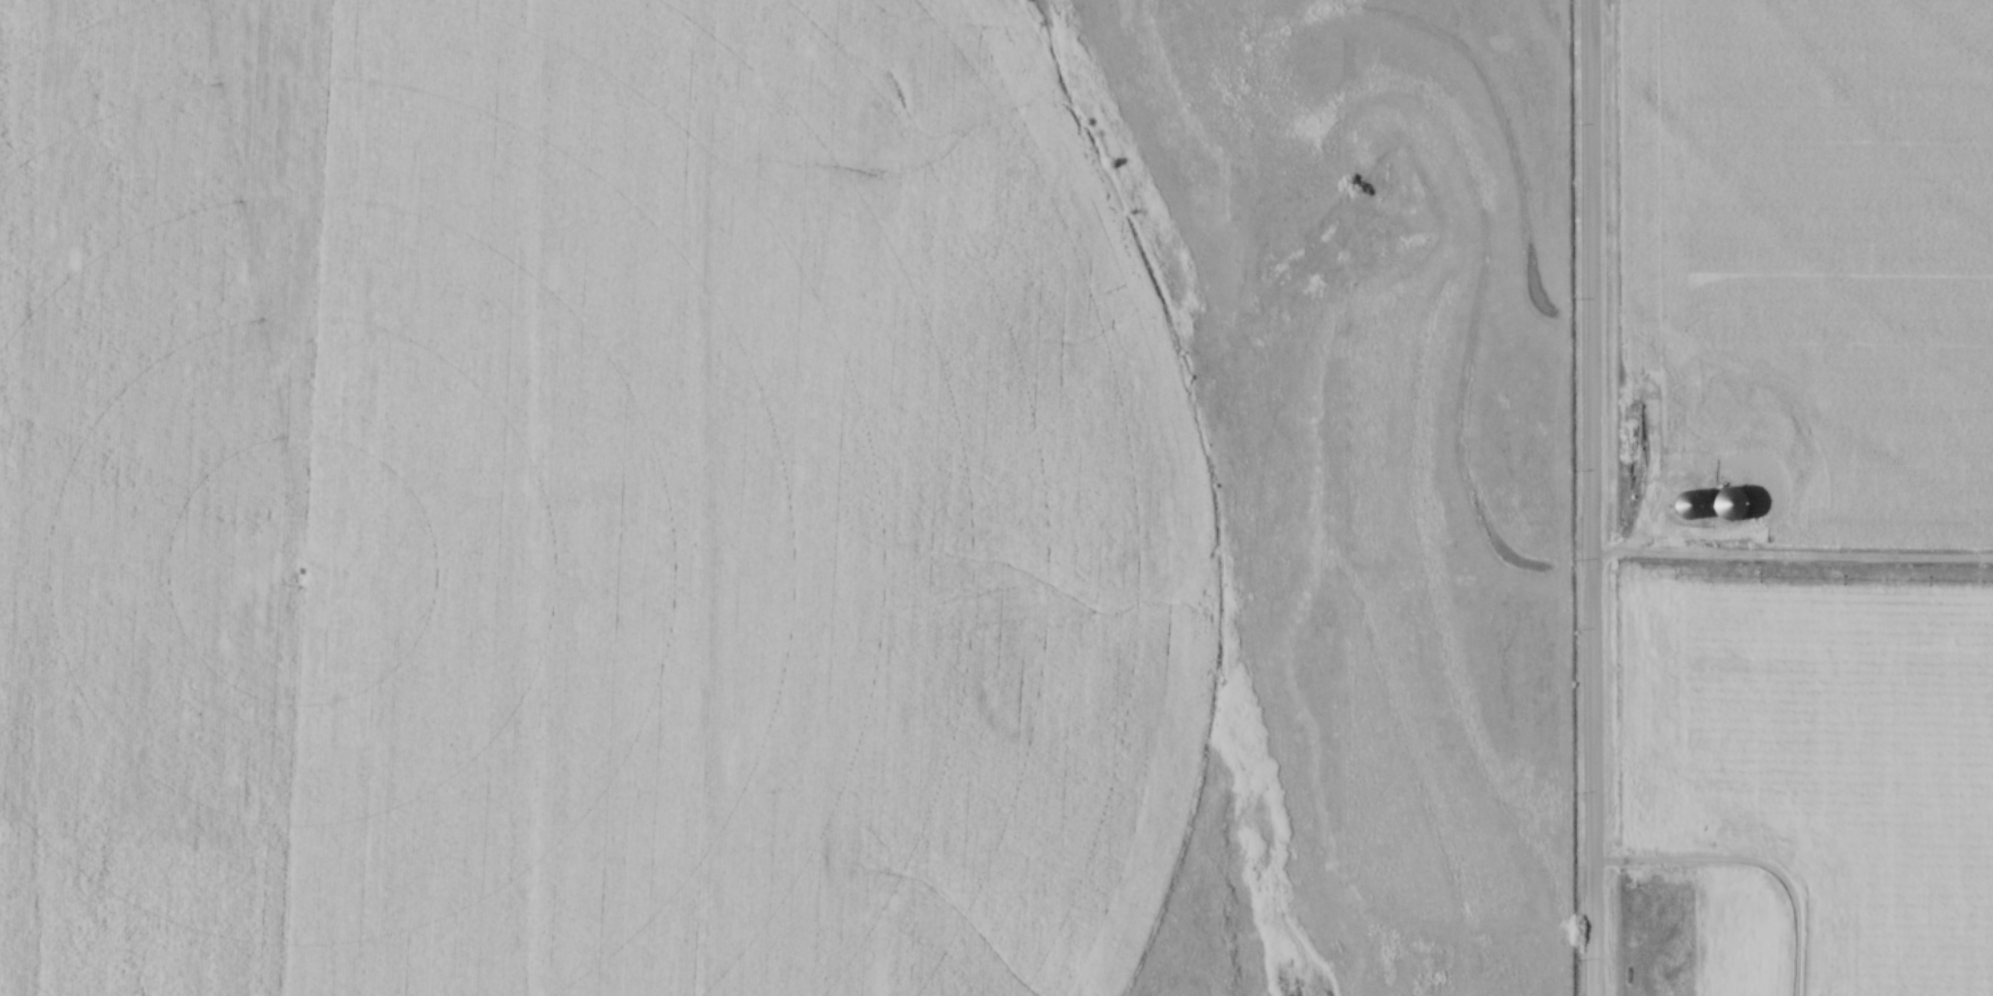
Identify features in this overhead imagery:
road: (1588, 498)
building: (1689, 506)
road: (1791, 560)
road: (1744, 865)

